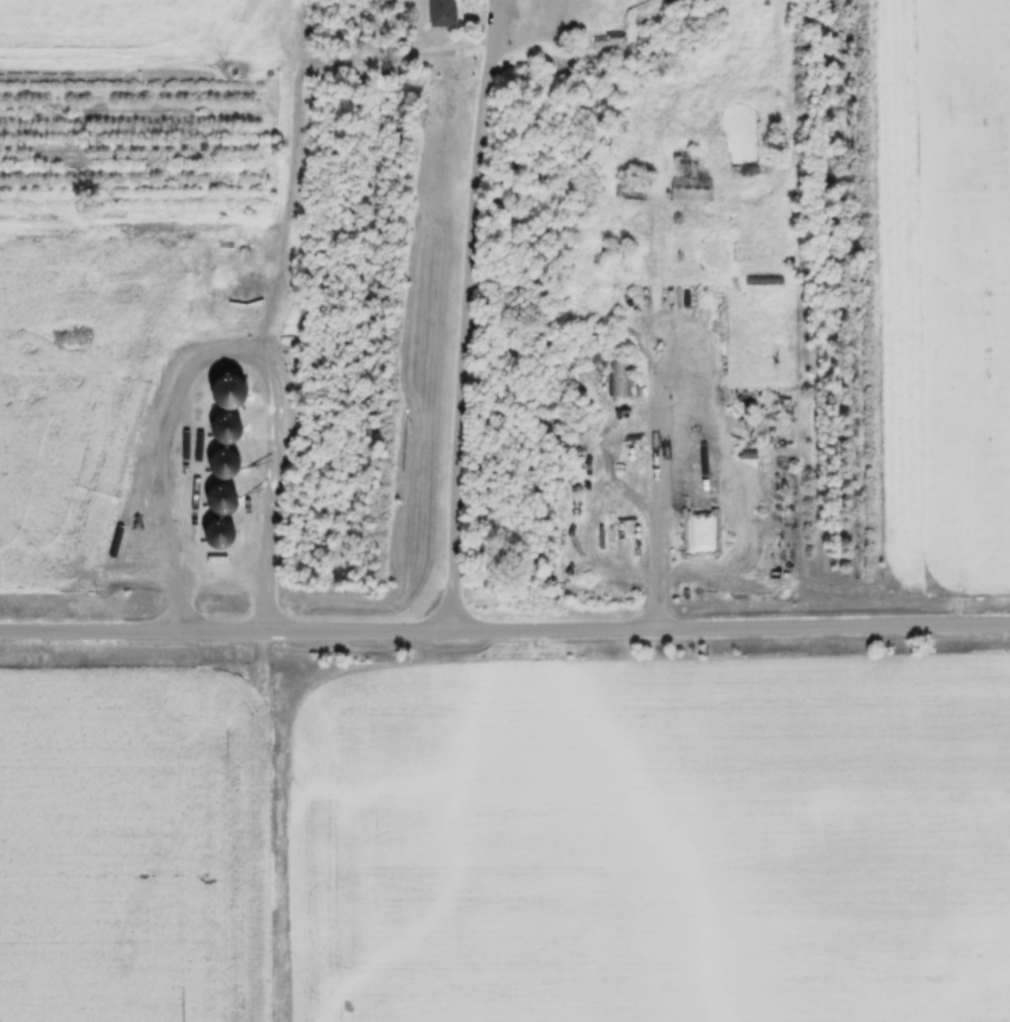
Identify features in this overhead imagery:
building: (440, 13)
building: (690, 190)
building: (620, 379)
building: (220, 463)
building: (218, 500)
building: (216, 532)
building: (619, 562)
road: (505, 622)

